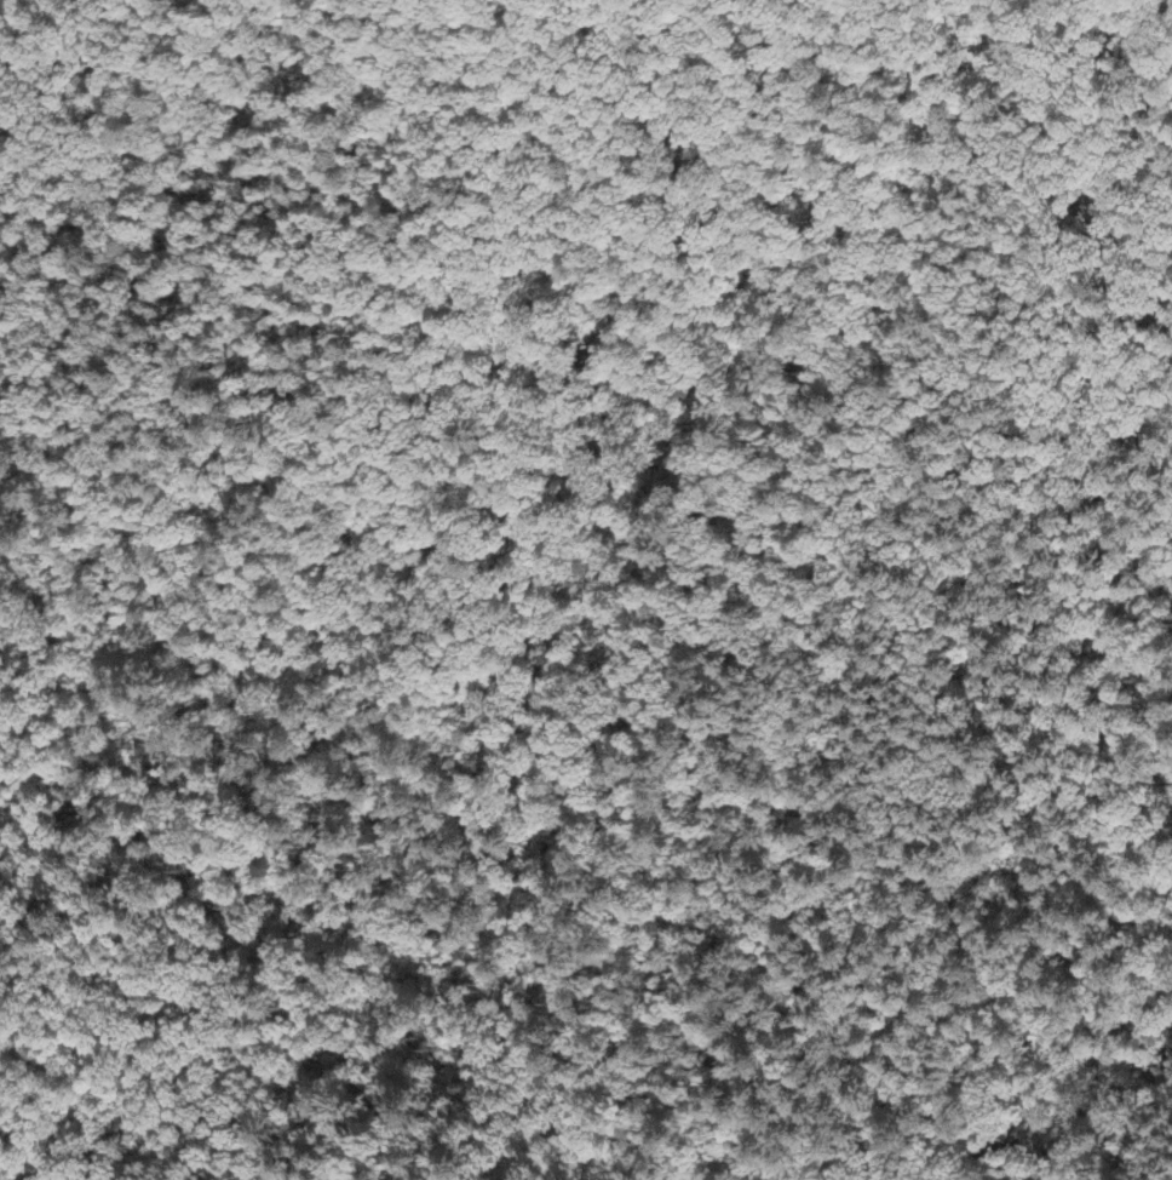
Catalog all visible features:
road: (345, 819)
road: (817, 1161)

